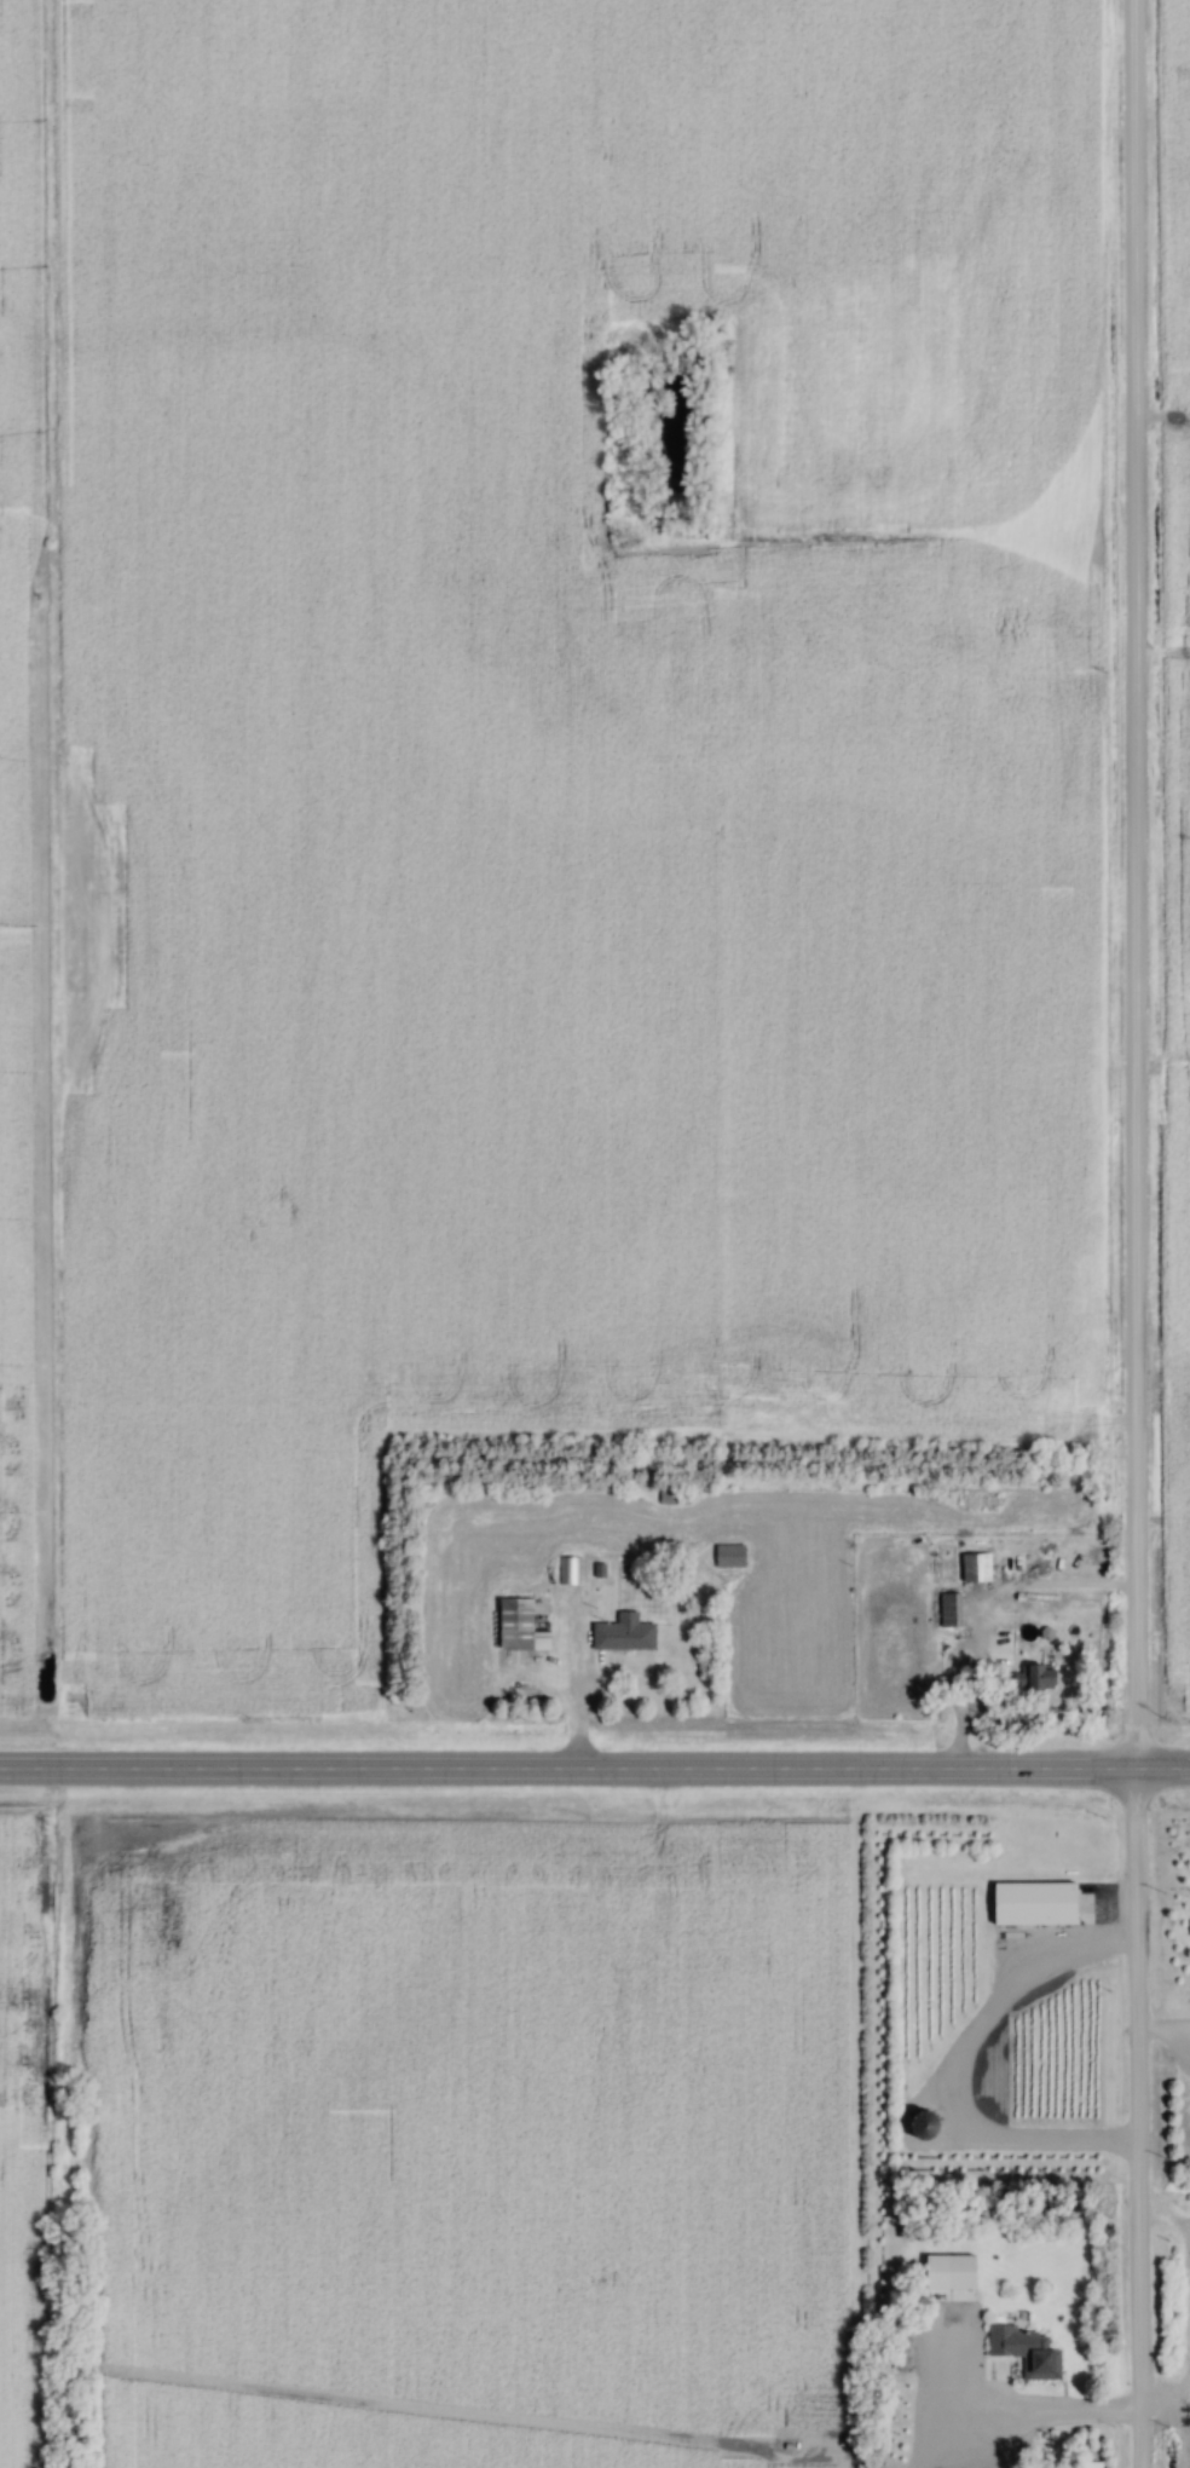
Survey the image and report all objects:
road: (1130, 1234)
building: (671, 1498)
building: (727, 1557)
building: (974, 1569)
building: (567, 1572)
building: (948, 1611)
building: (516, 1628)
building: (622, 1636)
building: (1033, 1680)
road: (572, 1702)
road: (594, 1775)
building: (1030, 1903)
road: (1160, 2034)
building: (924, 2128)
building: (949, 2296)
building: (1023, 2352)
road: (1038, 2417)
building: (888, 2456)

